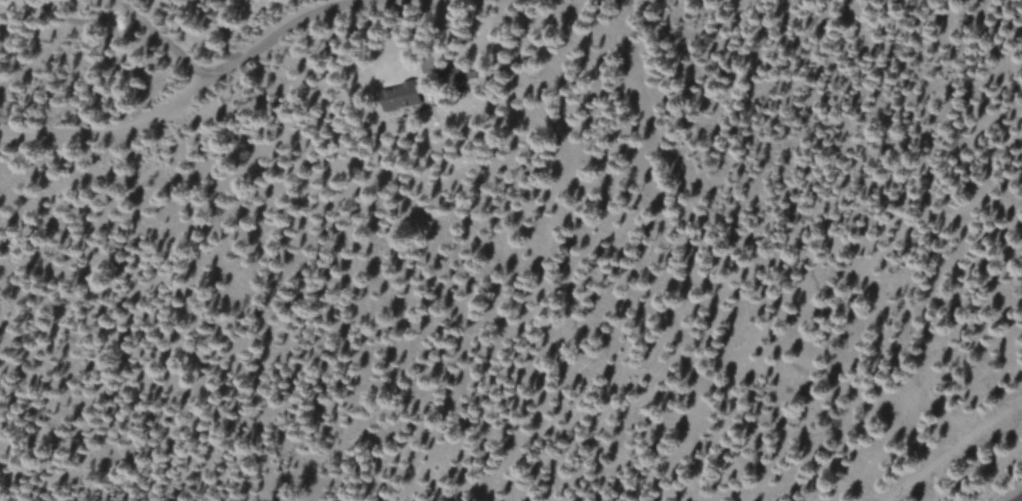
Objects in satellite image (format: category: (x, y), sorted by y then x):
road: (156, 43)
road: (206, 83)
building: (404, 99)

